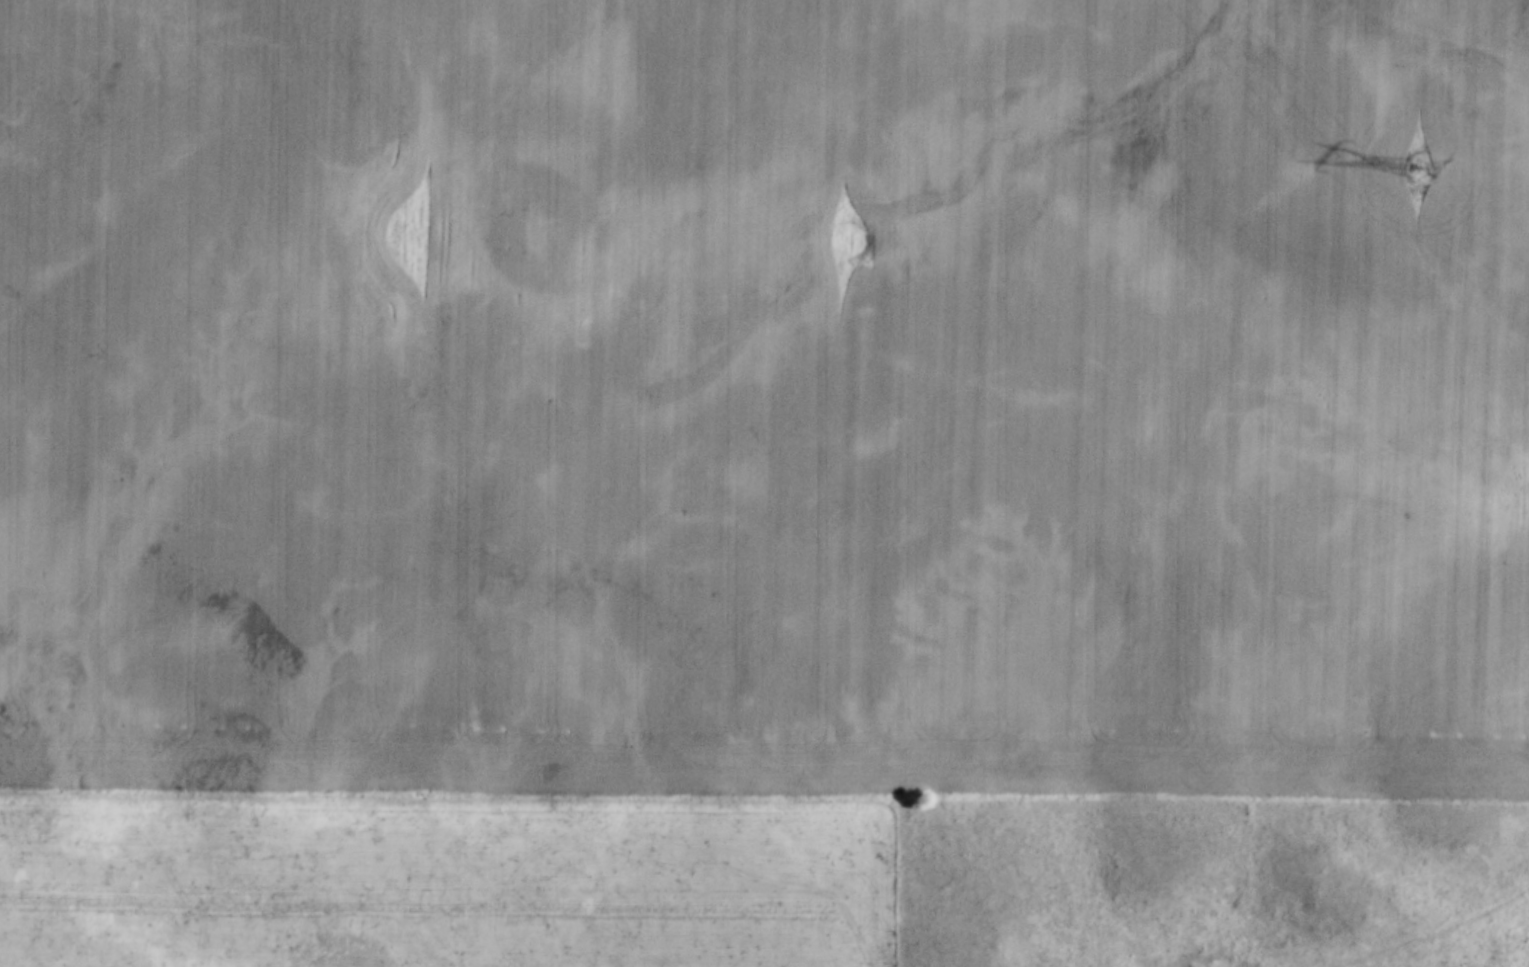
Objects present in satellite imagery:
power tower: (1415, 171)
road: (897, 483)
building: (233, 953)
building: (334, 956)
building: (61, 962)
building: (480, 964)
building: (6, 966)

